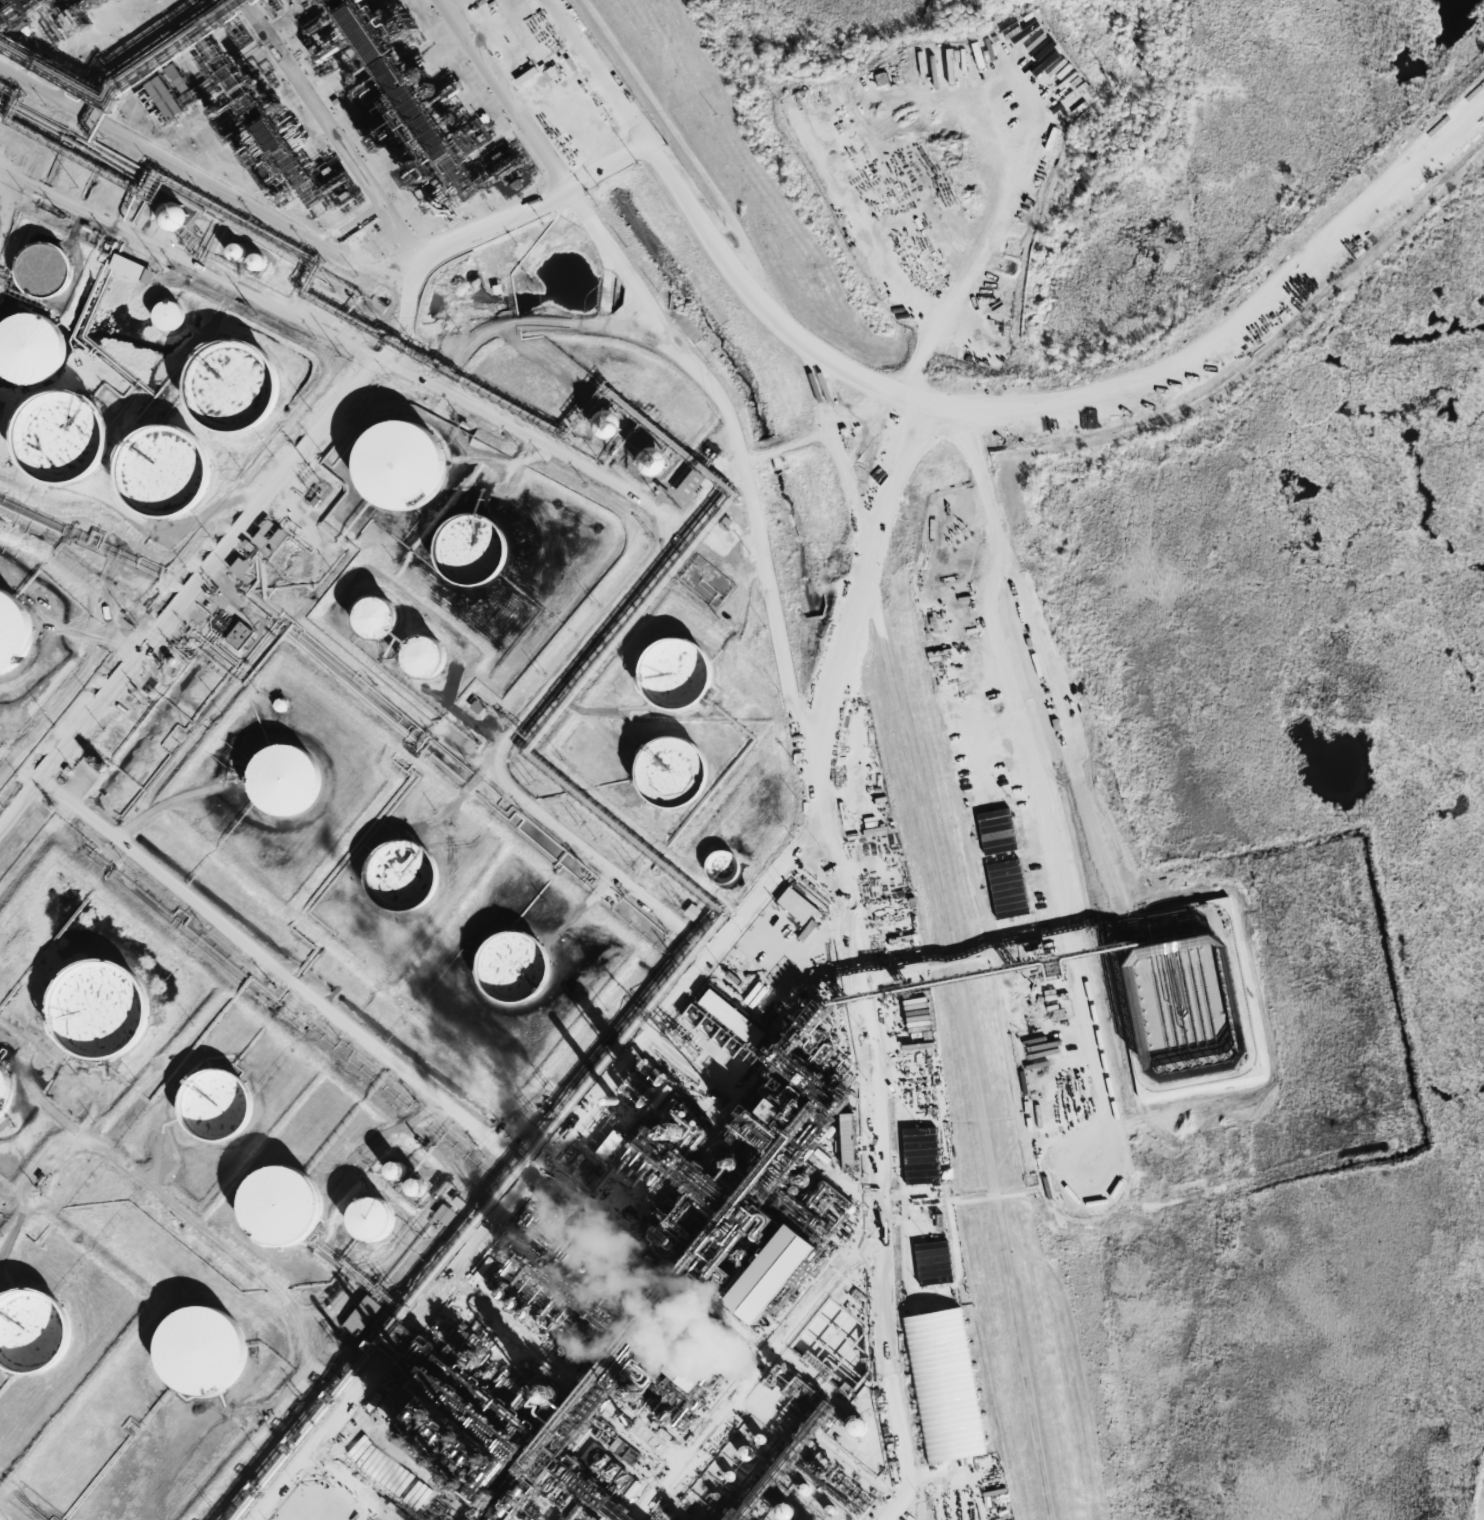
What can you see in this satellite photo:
building: (174, 78)
road: (37, 83)
building: (1063, 87)
building: (158, 97)
road: (169, 154)
road: (554, 163)
building: (165, 216)
building: (236, 251)
building: (227, 252)
building: (256, 261)
building: (247, 262)
building: (129, 268)
building: (35, 271)
building: (161, 315)
road: (341, 341)
building: (25, 348)
road: (379, 358)
building: (220, 386)
building: (598, 425)
building: (48, 437)
building: (643, 463)
building: (386, 466)
building: (150, 471)
building: (689, 484)
building: (269, 536)
building: (461, 550)
building: (240, 566)
road: (994, 571)
building: (363, 619)
building: (6, 633)
storage tank: (6, 633)
building: (235, 636)
building: (411, 659)
building: (675, 672)
building: (282, 704)
building: (476, 704)
road: (906, 727)
building: (662, 773)
building: (290, 777)
road: (564, 827)
building: (996, 830)
building: (717, 868)
building: (407, 874)
building: (1007, 888)
building: (797, 904)
building: (692, 911)
building: (518, 965)
road: (288, 976)
building: (104, 1006)
storage tank: (104, 1006)
building: (6, 1089)
building: (220, 1102)
building: (848, 1140)
building: (921, 1155)
building: (403, 1169)
building: (395, 1170)
building: (416, 1186)
building: (424, 1186)
building: (287, 1204)
building: (447, 1214)
building: (379, 1217)
building: (933, 1262)
building: (525, 1311)
building: (364, 1316)
building: (34, 1330)
building: (207, 1349)
road: (339, 1374)
building: (944, 1385)
building: (549, 1393)
building: (856, 1426)
building: (747, 1453)
building: (786, 1510)
building: (522, 1517)

